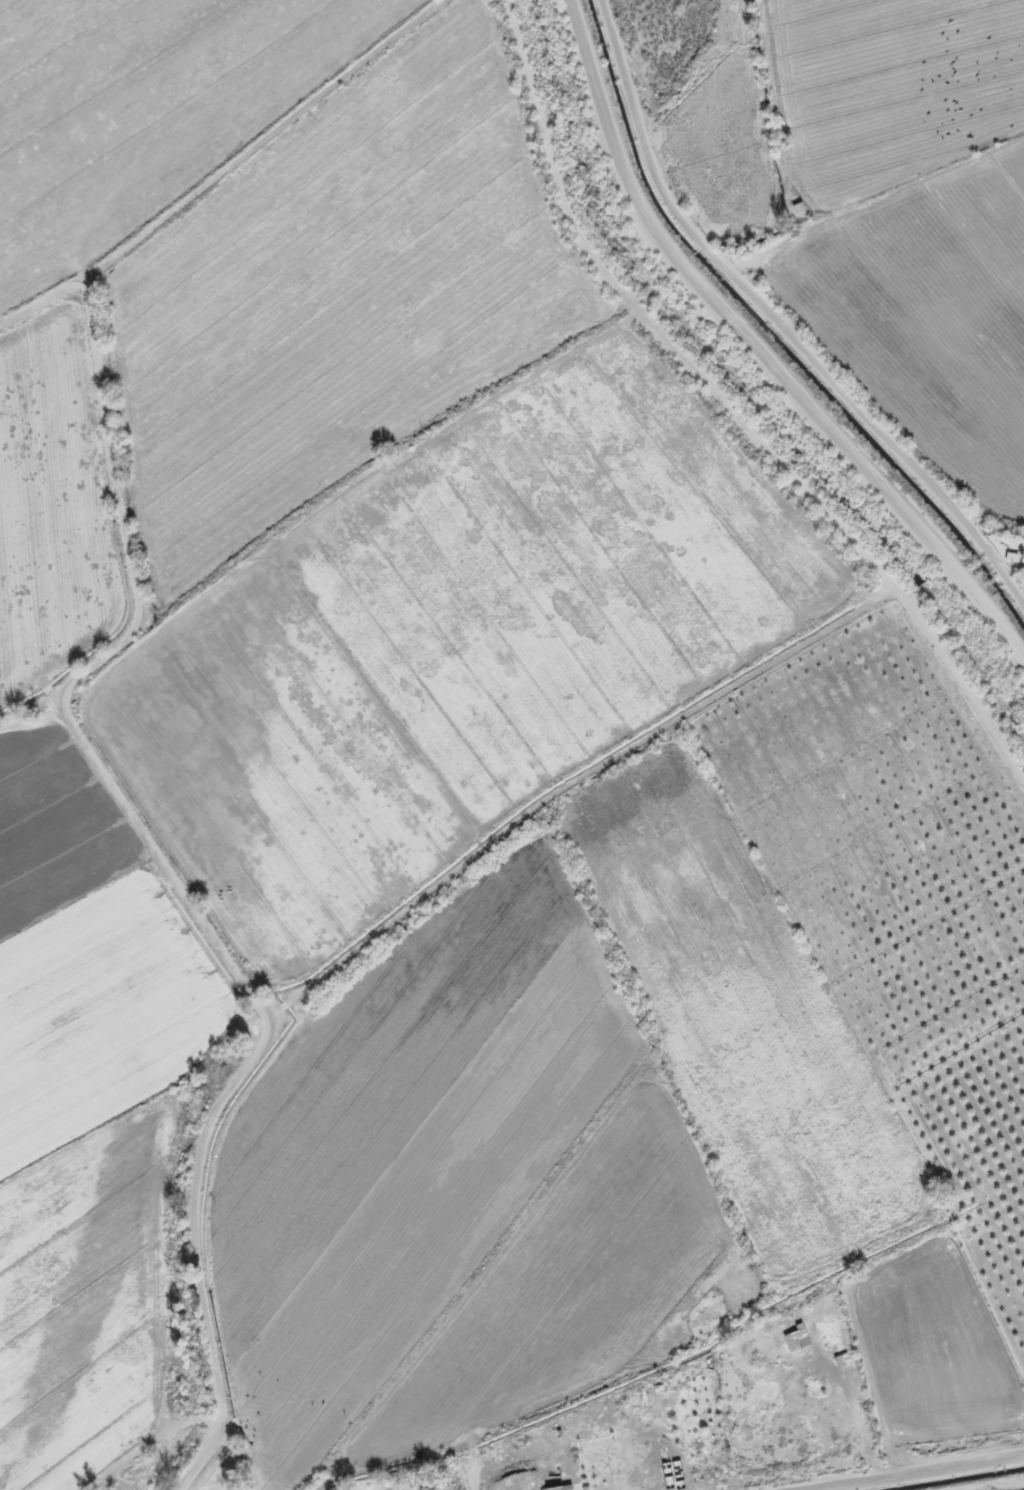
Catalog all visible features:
road: (776, 326)
road: (757, 353)
road: (726, 408)

